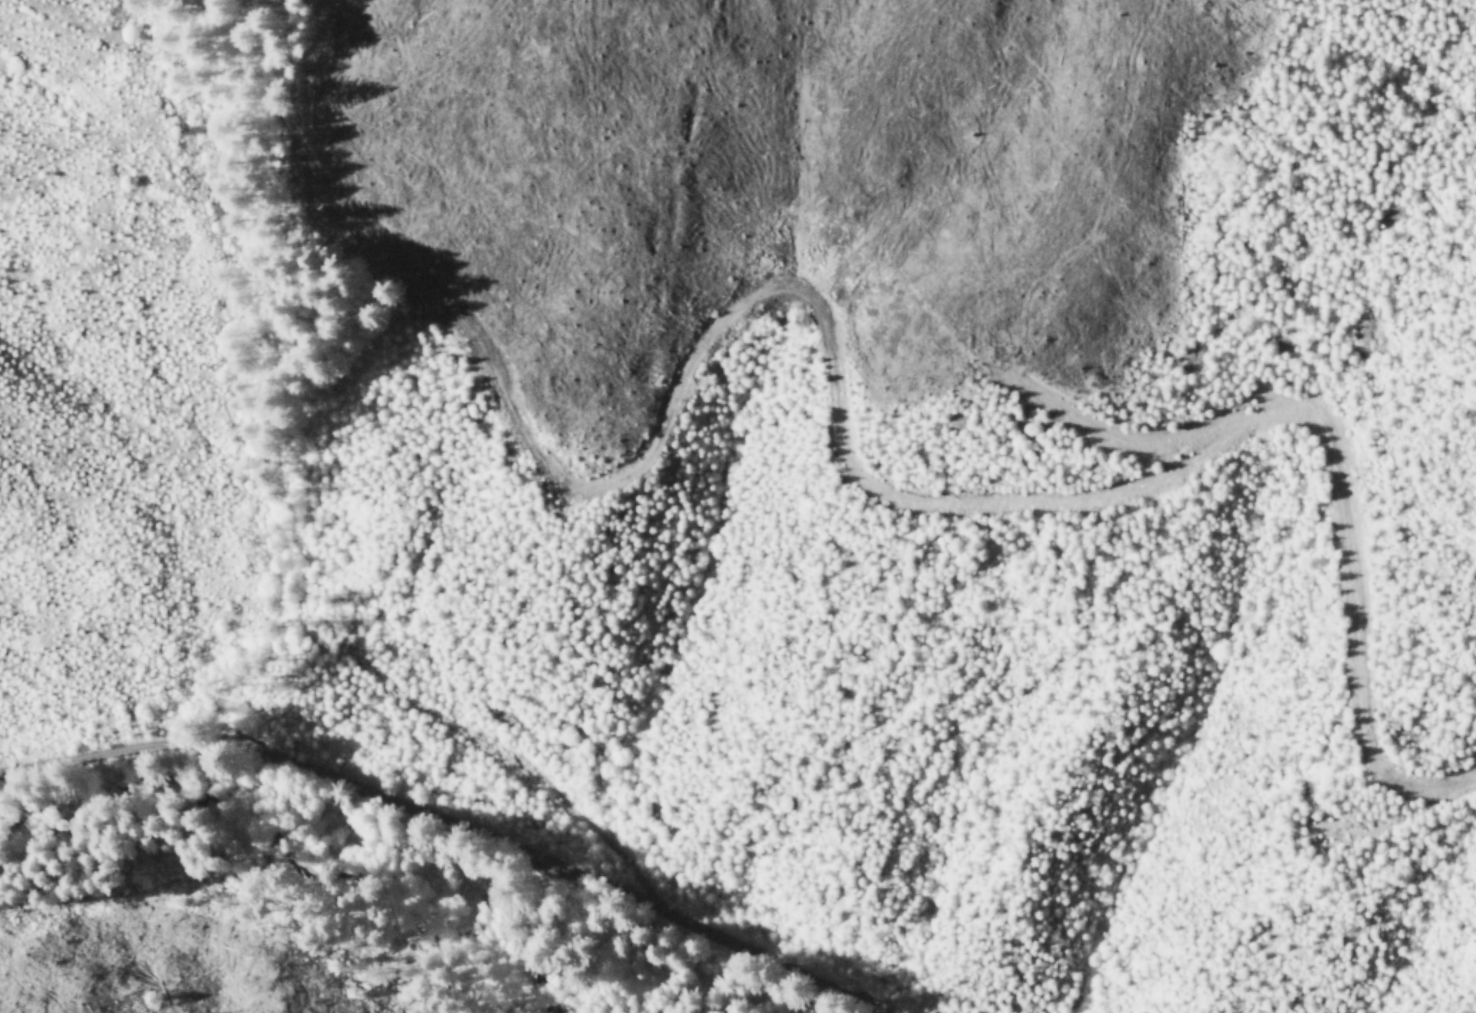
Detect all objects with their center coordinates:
road: (1098, 420)
road: (1036, 494)
road: (512, 760)
road: (1396, 814)
road: (454, 825)

